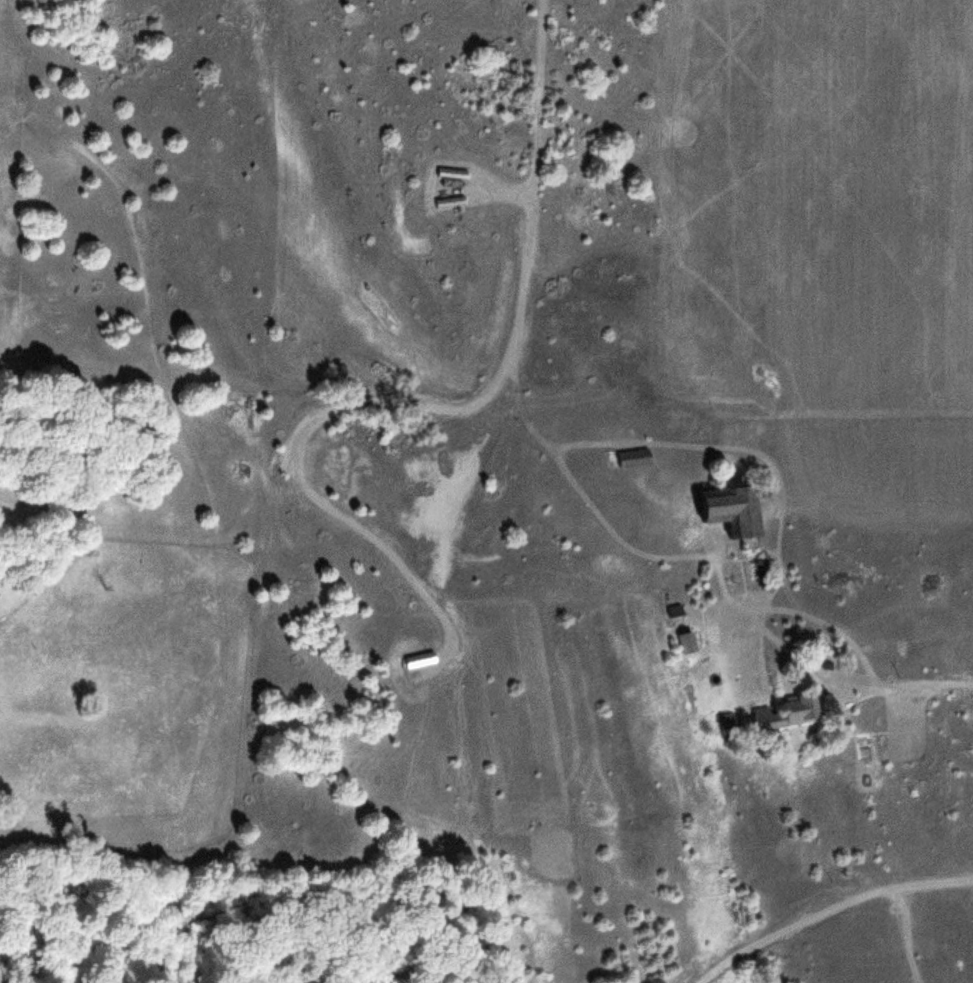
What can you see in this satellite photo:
building: (636, 457)
building: (736, 508)
road: (923, 682)

